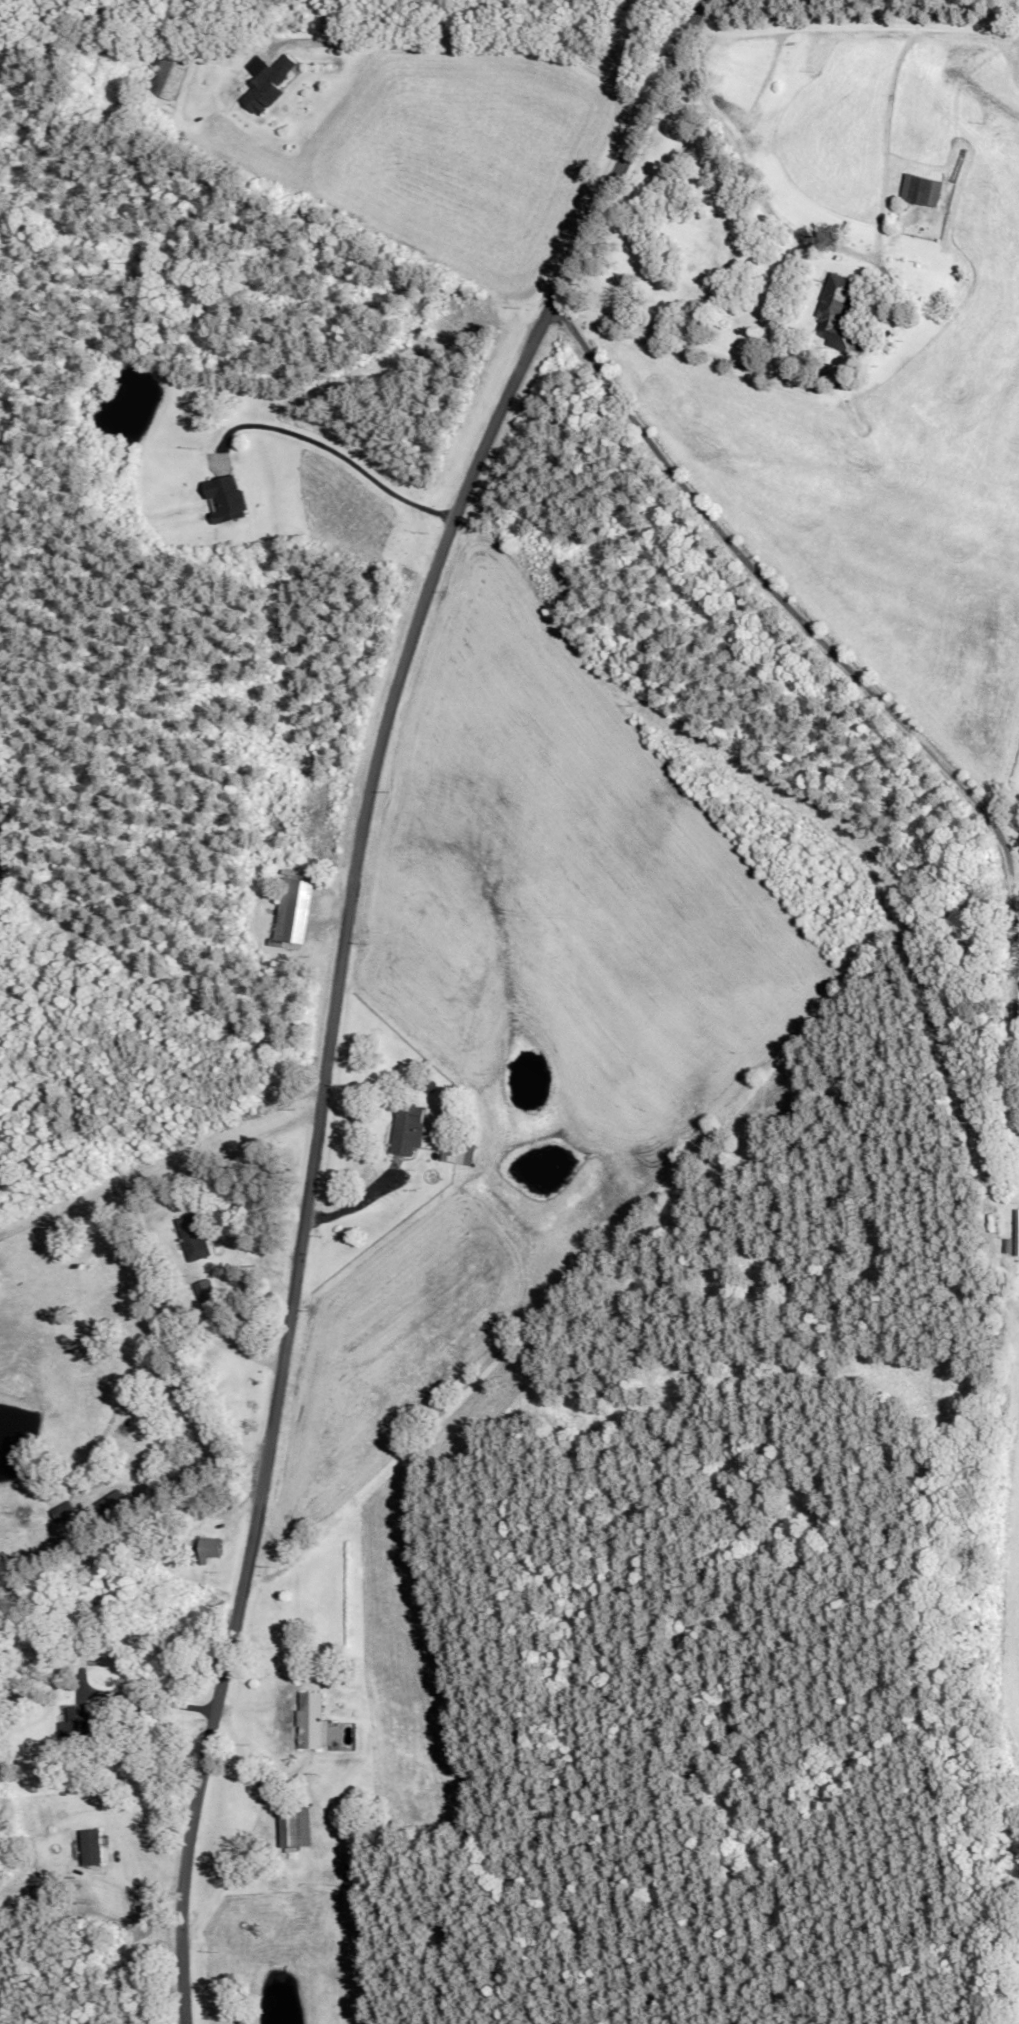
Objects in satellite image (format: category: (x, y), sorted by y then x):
road: (854, 28)
building: (169, 81)
building: (268, 87)
building: (921, 194)
building: (836, 315)
road: (335, 452)
building: (227, 502)
road: (857, 680)
building: (295, 913)
road: (335, 982)
building: (410, 1133)
building: (459, 1156)
building: (197, 1240)
building: (207, 1295)
building: (65, 1513)
road: (172, 1518)
building: (211, 1552)
building: (312, 1725)
building: (76, 1727)
building: (344, 1739)
building: (296, 1831)
building: (355, 1873)

